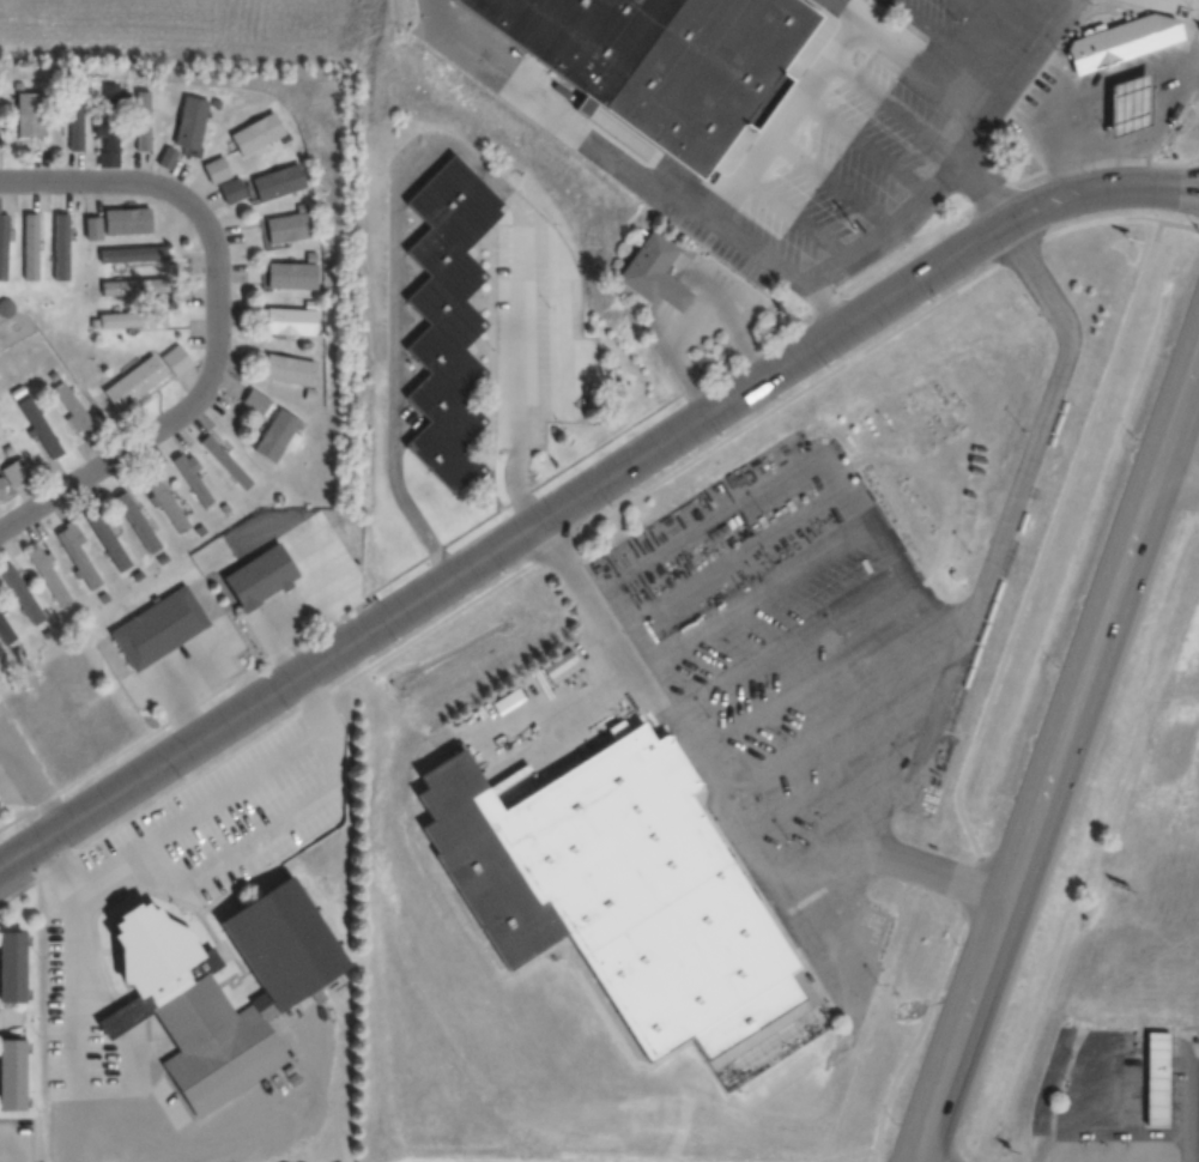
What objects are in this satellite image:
building: (1157, 26)
building: (1098, 50)
parking lot: (950, 59)
building: (673, 60)
building: (1131, 105)
building: (29, 114)
building: (141, 120)
building: (190, 121)
building: (74, 123)
road: (580, 123)
road: (903, 123)
building: (256, 133)
building: (105, 143)
building: (216, 169)
road: (792, 169)
building: (277, 182)
building: (231, 190)
building: (119, 222)
building: (289, 226)
building: (2, 244)
building: (60, 246)
building: (30, 247)
building: (135, 253)
building: (655, 272)
building: (292, 274)
building: (133, 286)
building: (5, 307)
building: (131, 319)
road: (216, 319)
building: (448, 319)
building: (290, 320)
building: (175, 359)
building: (287, 369)
building: (133, 382)
building: (255, 400)
building: (72, 408)
building: (37, 426)
building: (278, 435)
building: (224, 461)
building: (11, 474)
building: (190, 476)
road: (1021, 478)
road: (587, 488)
building: (137, 521)
building: (107, 539)
building: (74, 552)
building: (48, 574)
building: (256, 579)
building: (20, 594)
building: (159, 625)
building: (4, 633)
parking lot: (807, 694)
building: (507, 701)
road: (1056, 756)
building: (483, 863)
building: (660, 908)
building: (13, 967)
building: (199, 994)
building: (13, 1075)
building: (1158, 1078)

